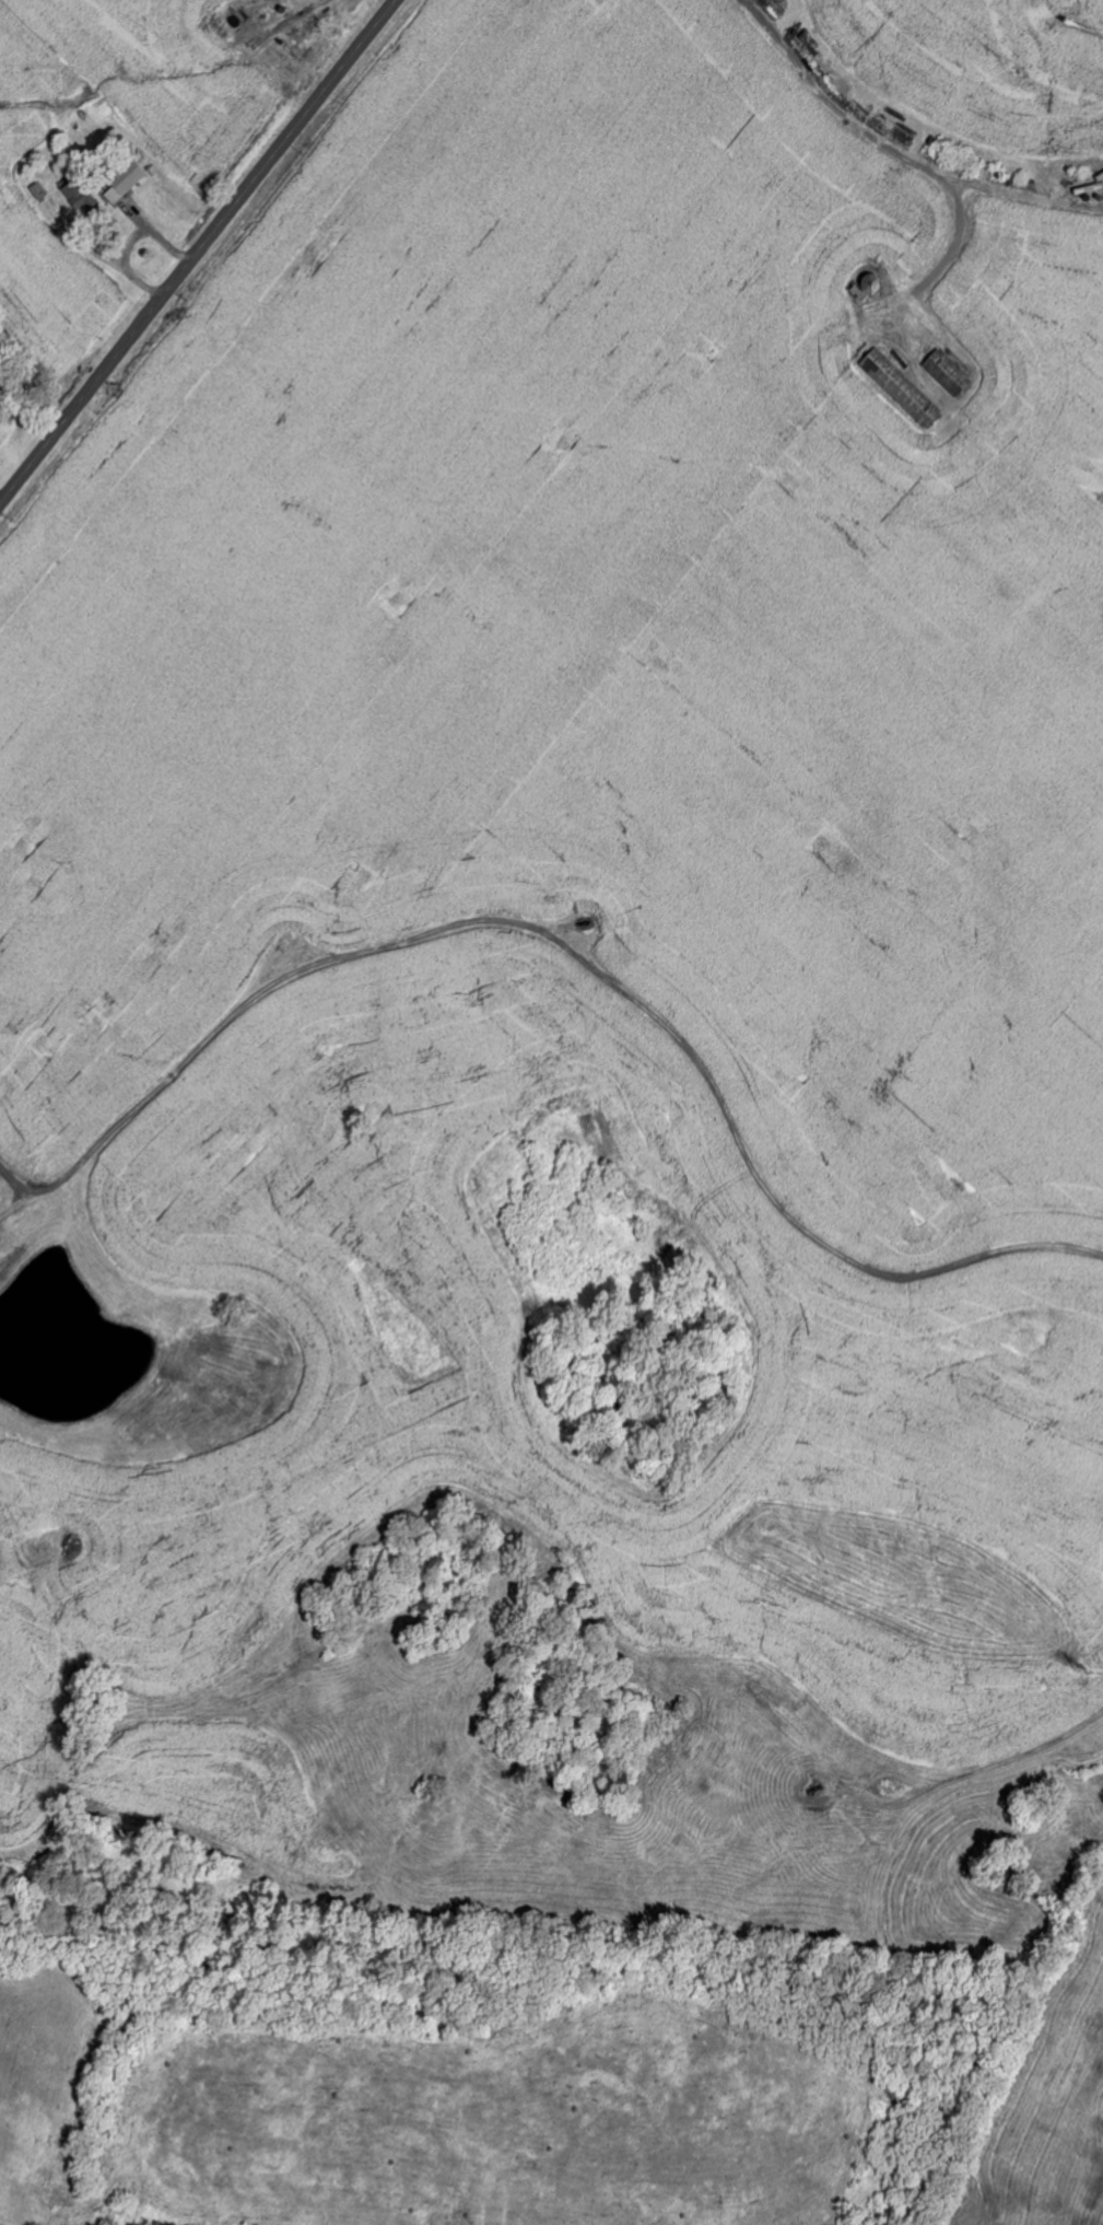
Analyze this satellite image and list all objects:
road: (825, 91)
building: (126, 179)
building: (81, 197)
road: (198, 252)
building: (949, 373)
building: (903, 388)

